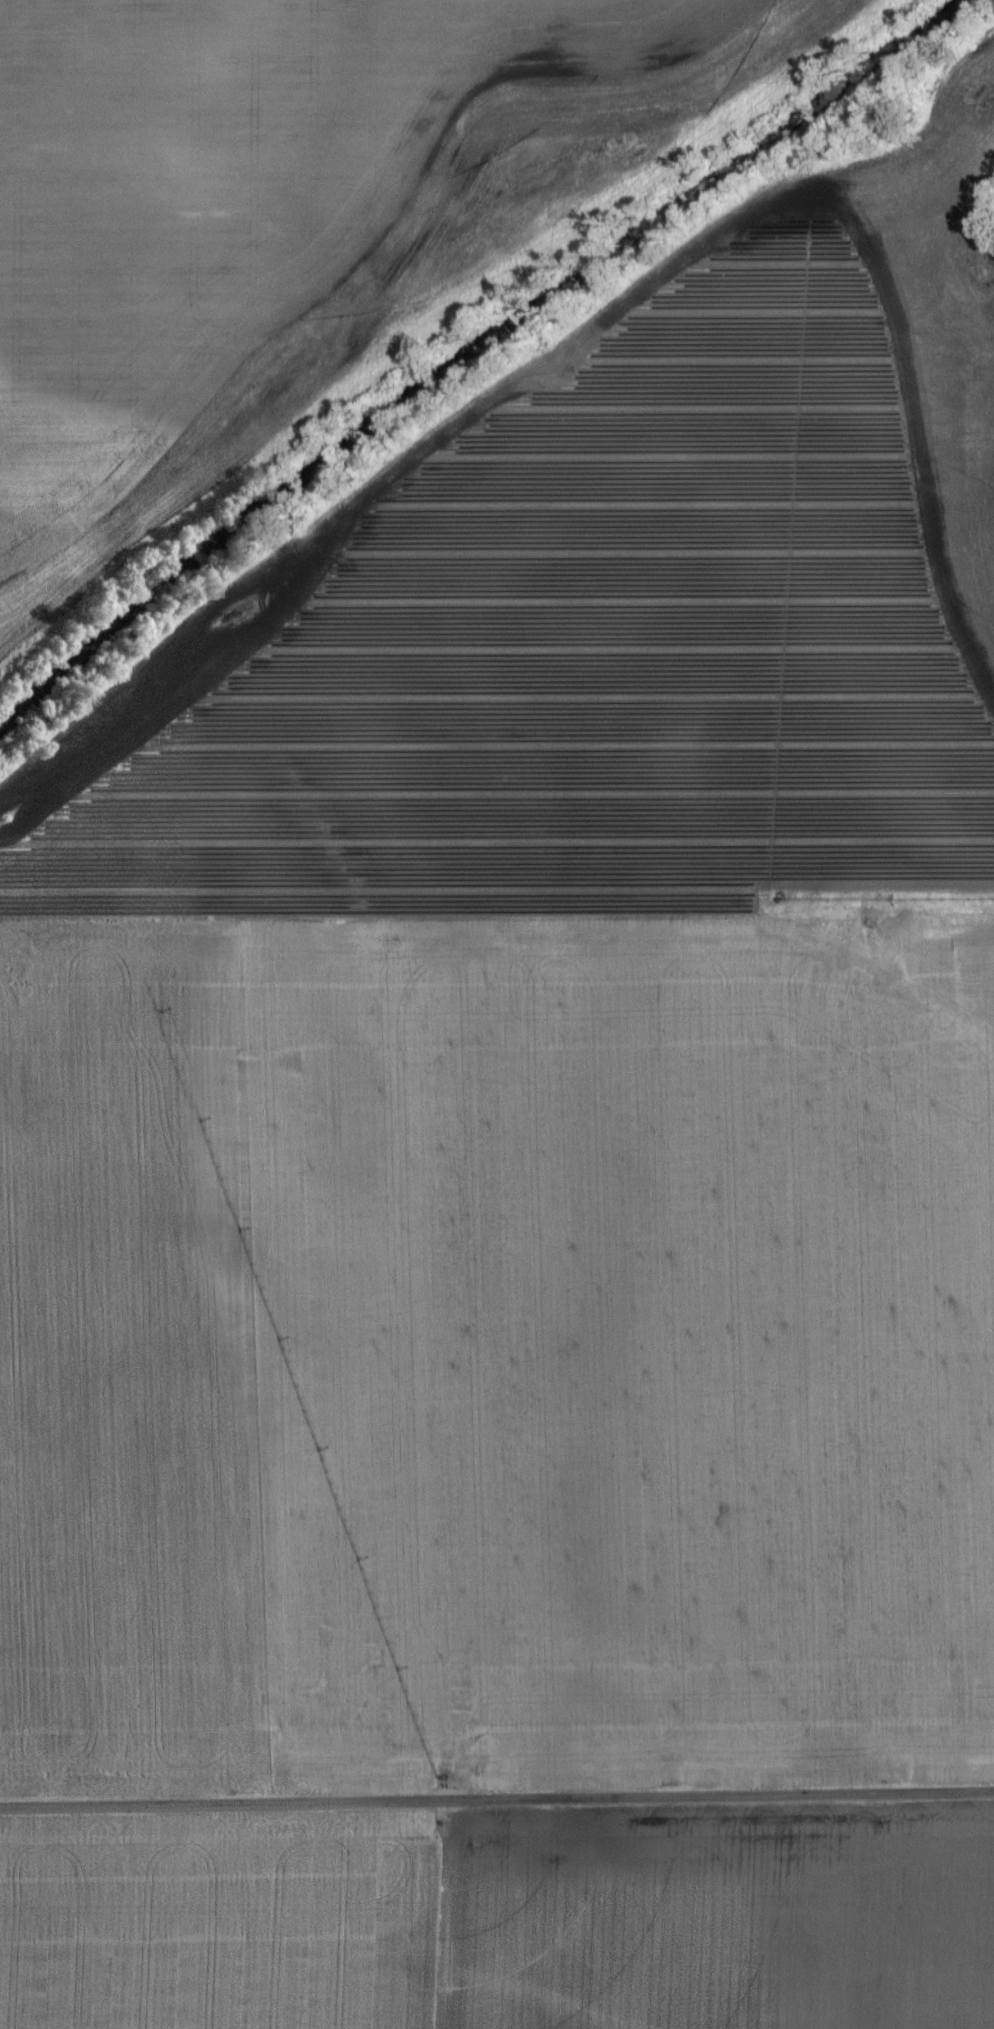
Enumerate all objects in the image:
road: (497, 1842)

